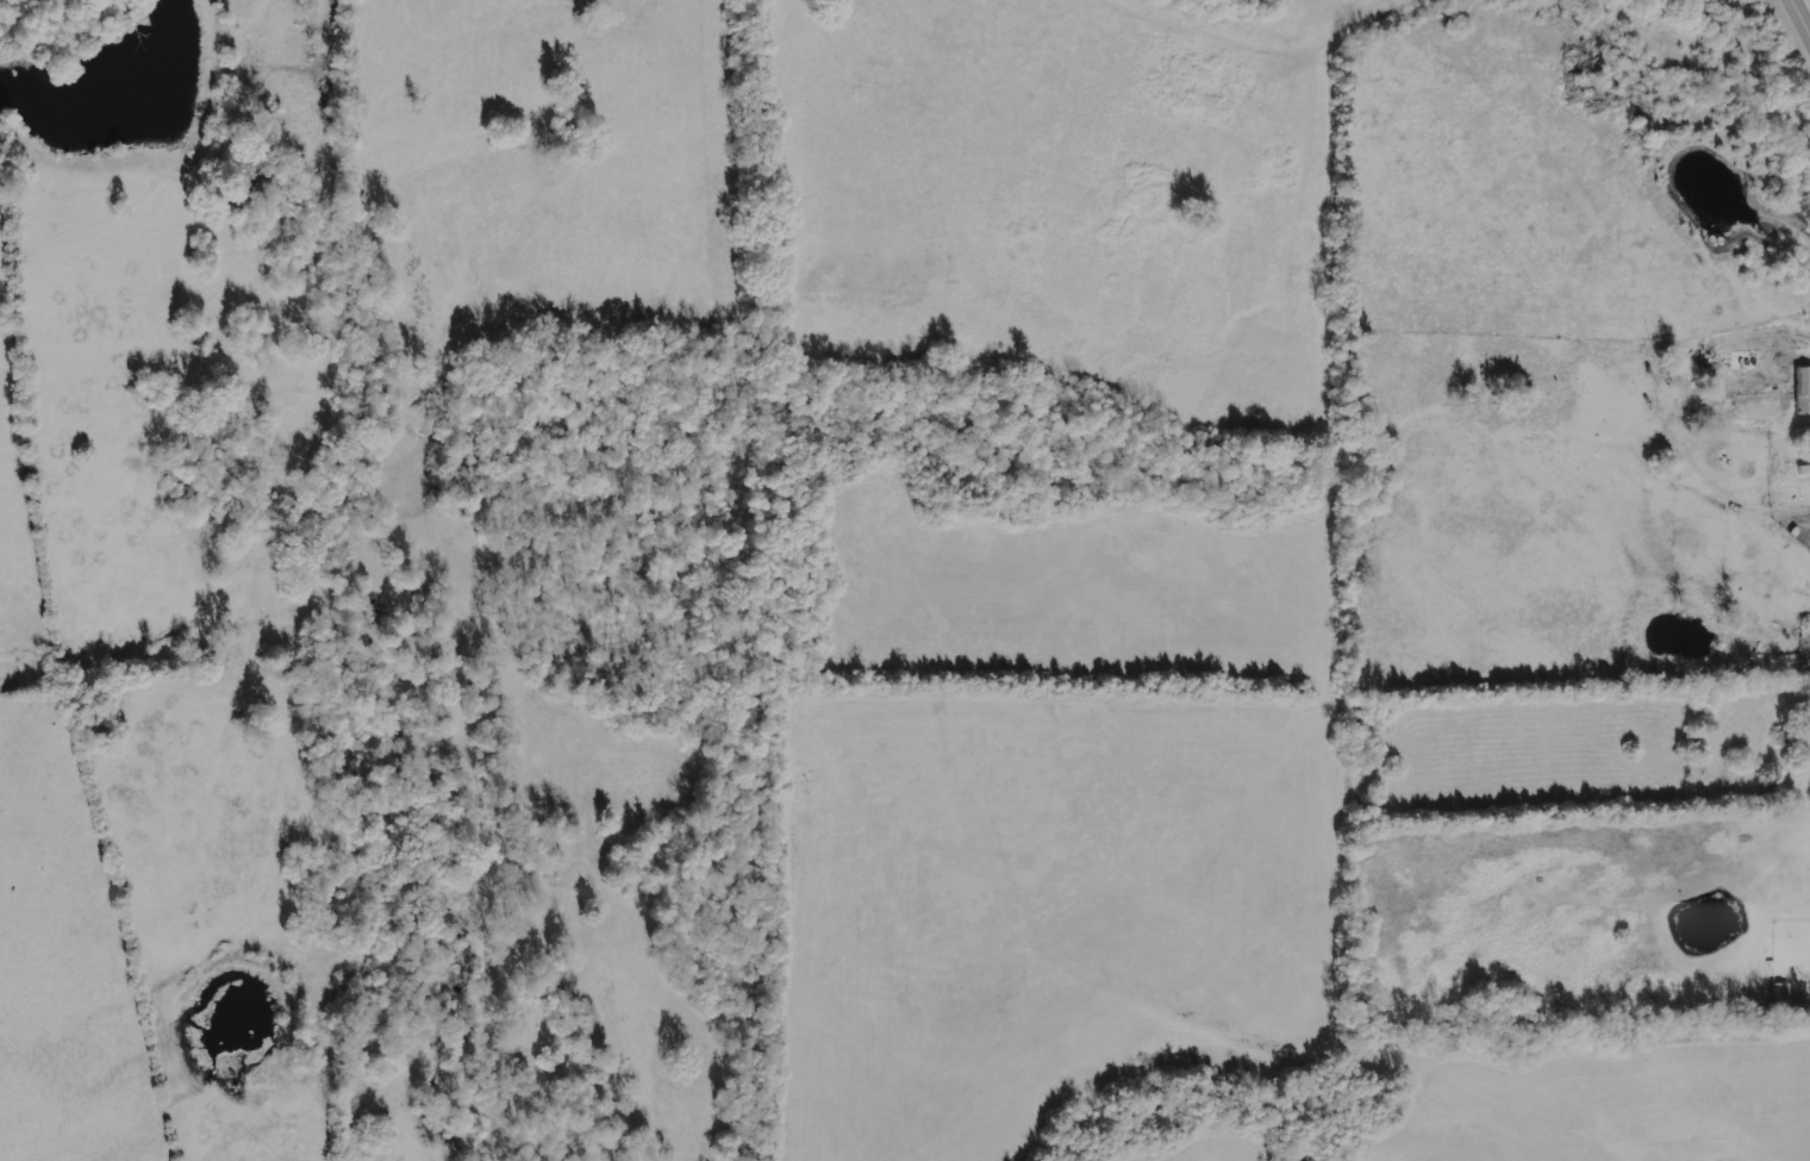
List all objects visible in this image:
park: (32, 14)
road: (1799, 21)
building: (1802, 388)
building: (1783, 997)

